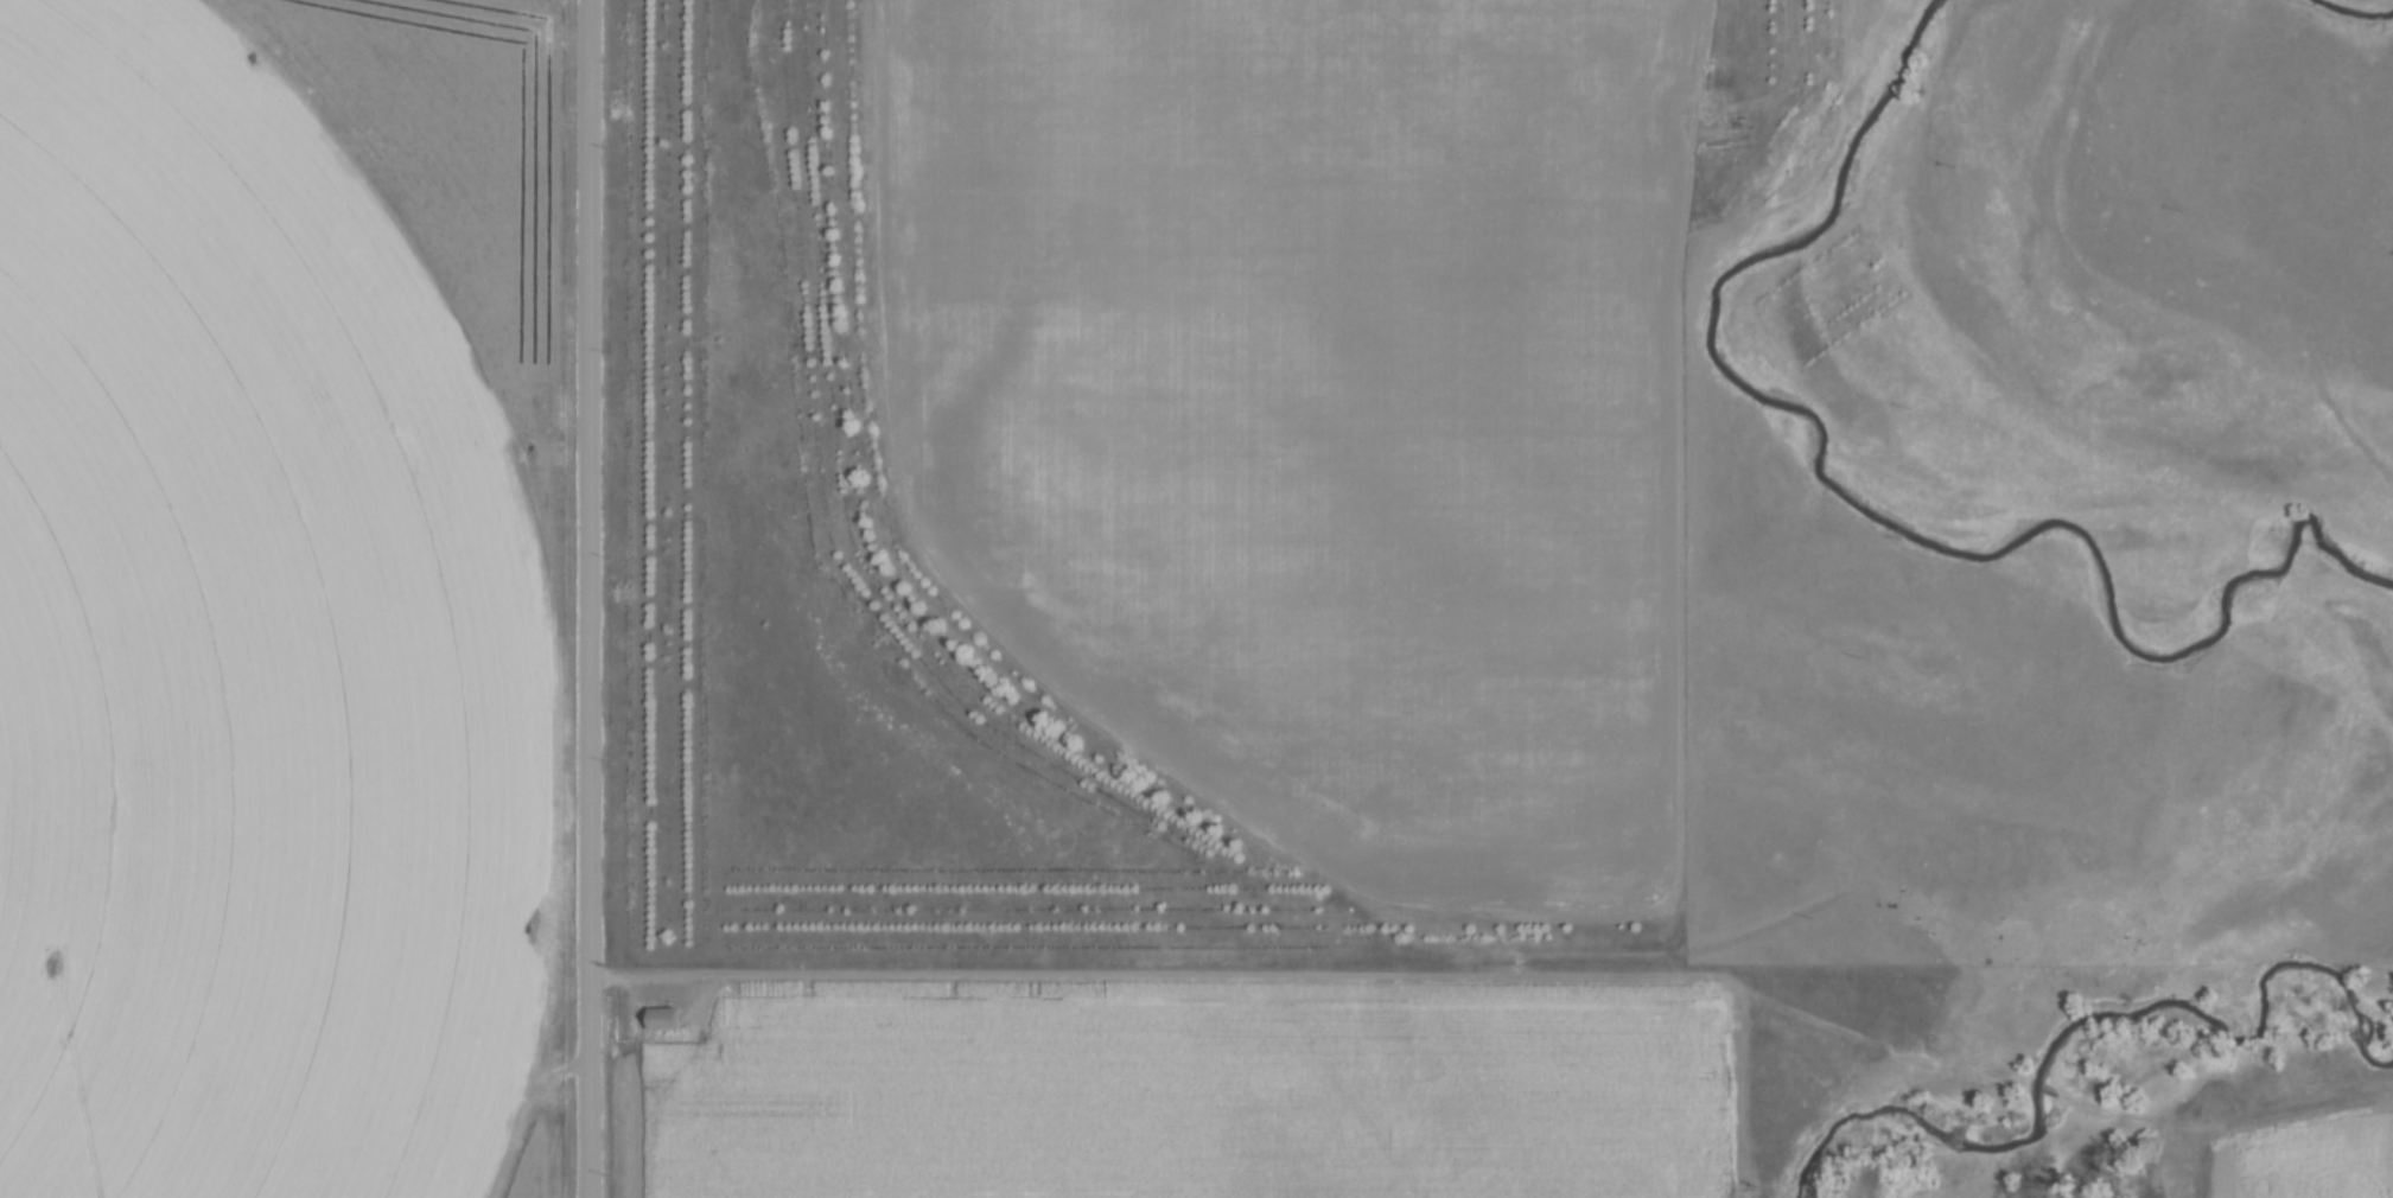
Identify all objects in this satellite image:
crop: (1317, 400)
crop: (276, 597)
road: (592, 599)
building: (667, 1018)
crop: (1184, 1091)
crop: (2318, 1165)

